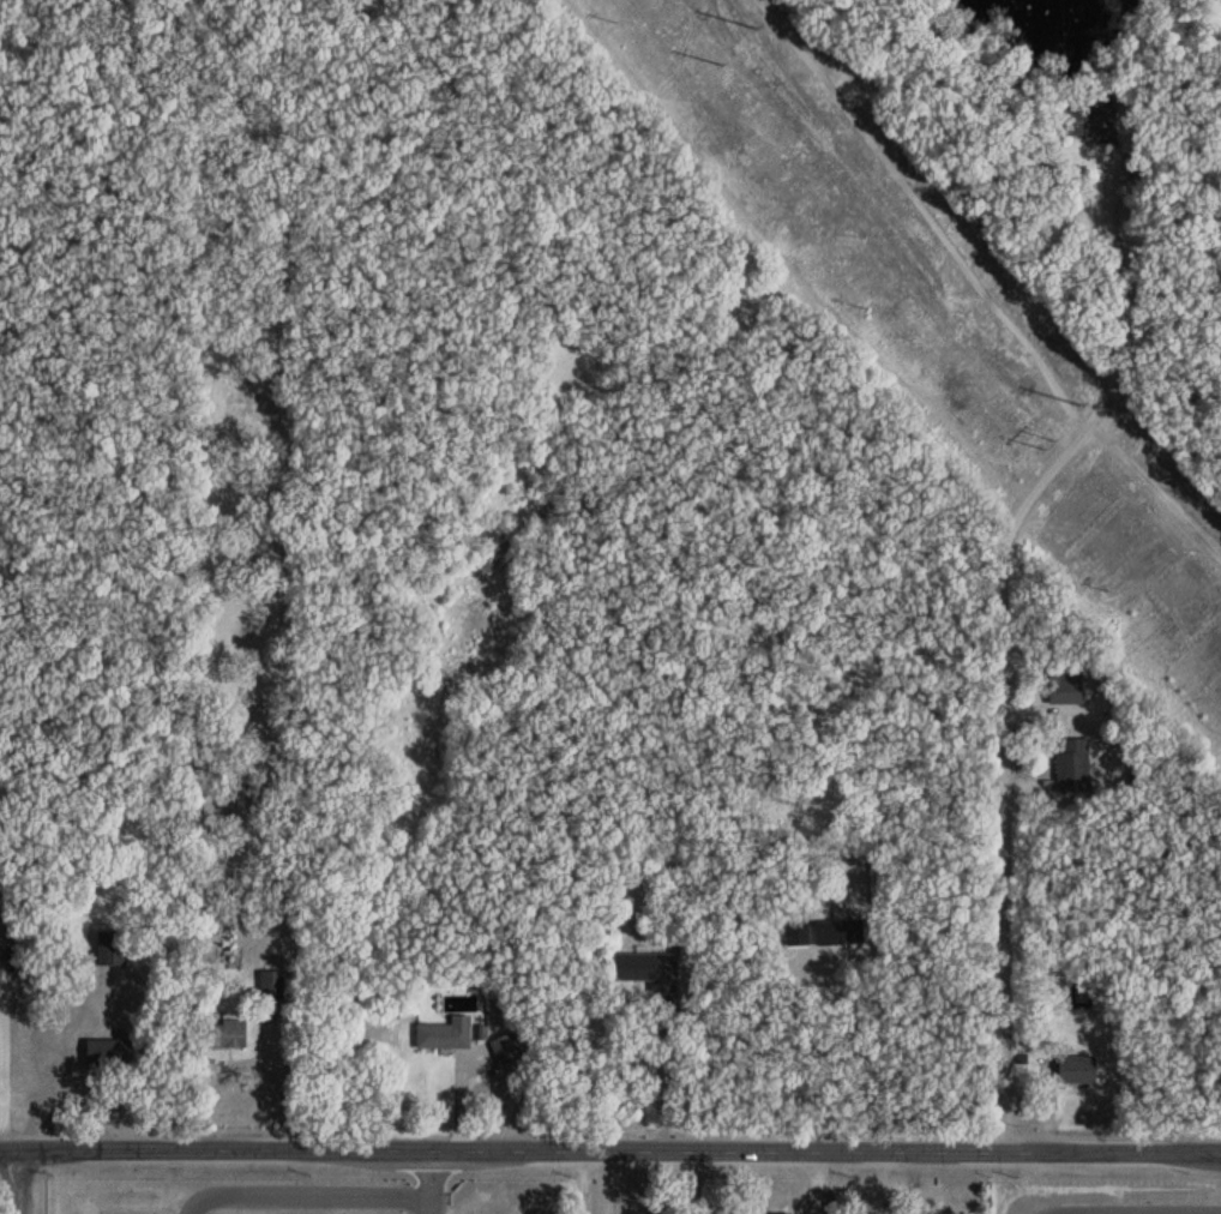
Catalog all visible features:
power tower: (750, 28)
power tower: (715, 61)
building: (1084, 122)
power tower: (1072, 403)
power tower: (1035, 443)
road: (1005, 641)
building: (1060, 691)
building: (1069, 765)
building: (263, 799)
building: (835, 932)
building: (114, 949)
building: (646, 969)
building: (273, 985)
road: (284, 1027)
building: (228, 1034)
building: (446, 1035)
road: (853, 1042)
building: (507, 1050)
building: (119, 1053)
building: (1072, 1068)
road: (664, 1074)
road: (610, 1149)
road: (583, 1182)
road: (606, 1182)
road: (432, 1183)
road: (22, 1185)
road: (306, 1194)
road: (1131, 1212)

